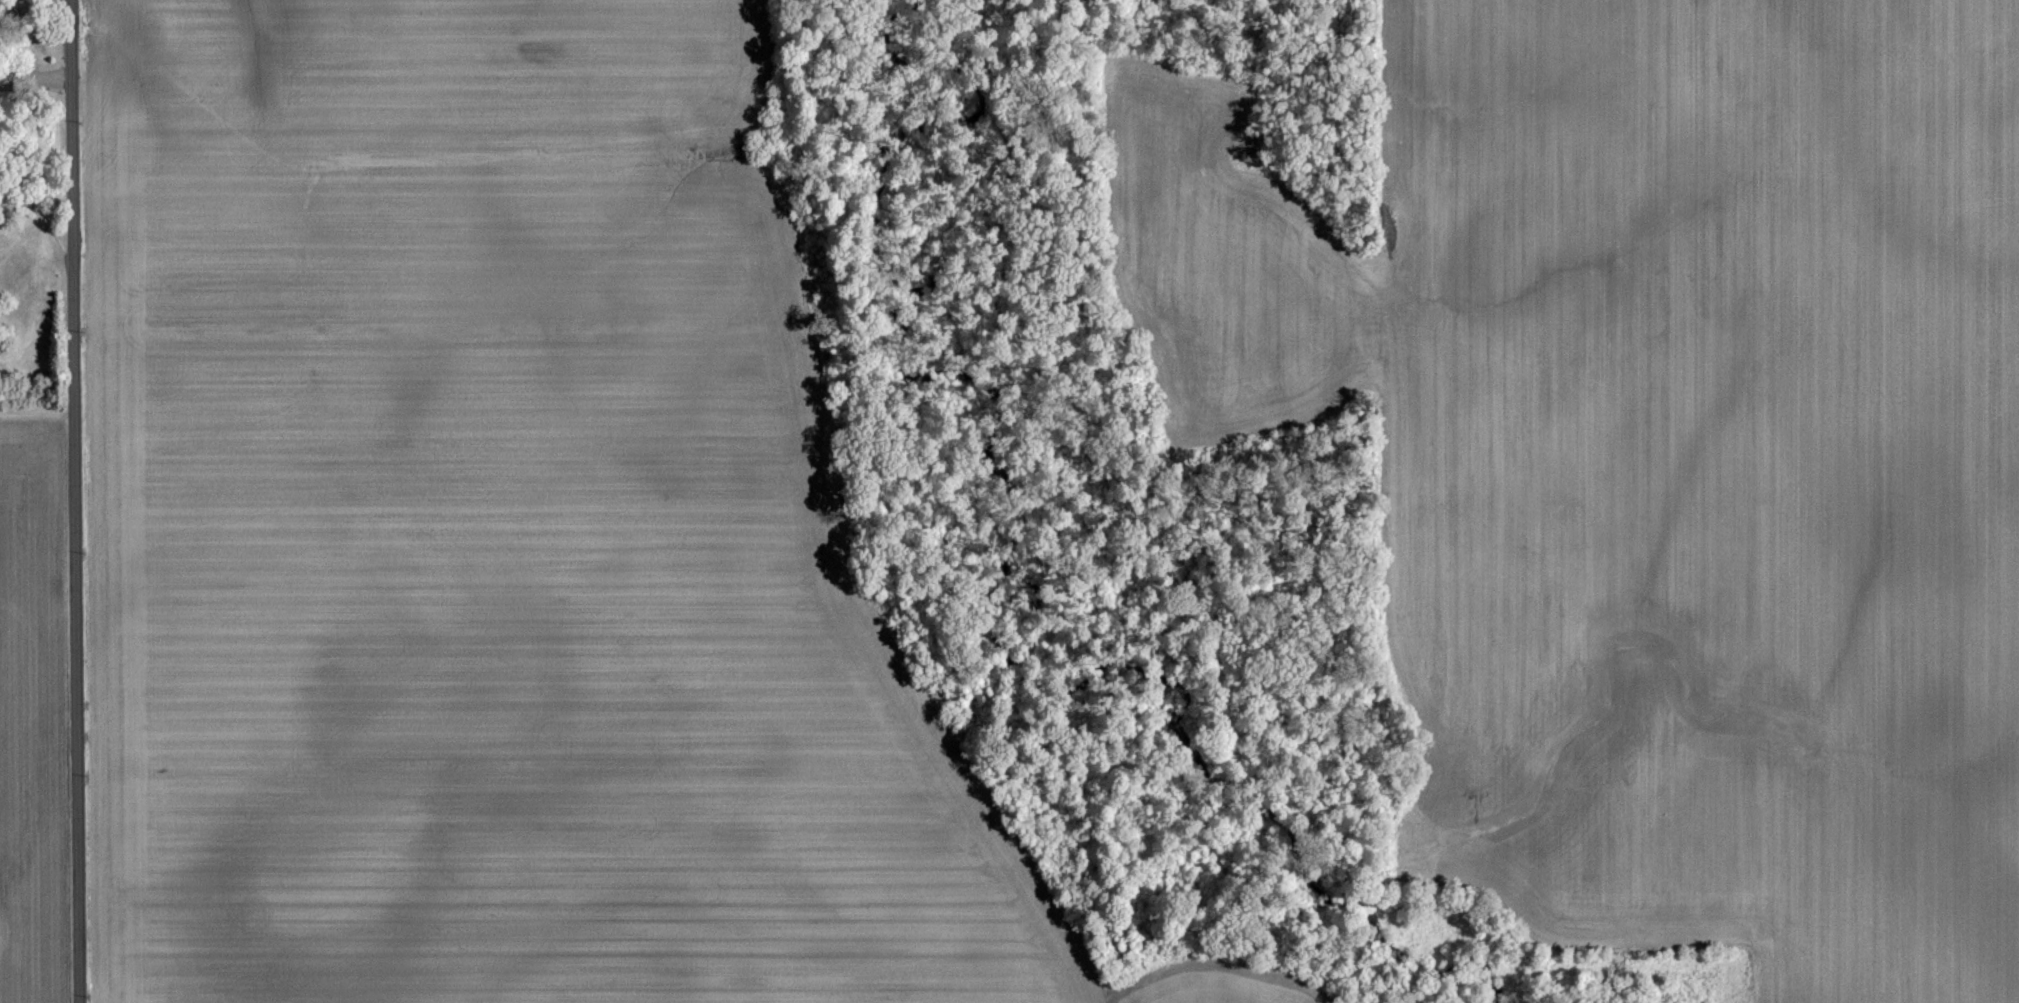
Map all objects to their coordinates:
road: (35, 75)
road: (44, 220)
road: (73, 501)

